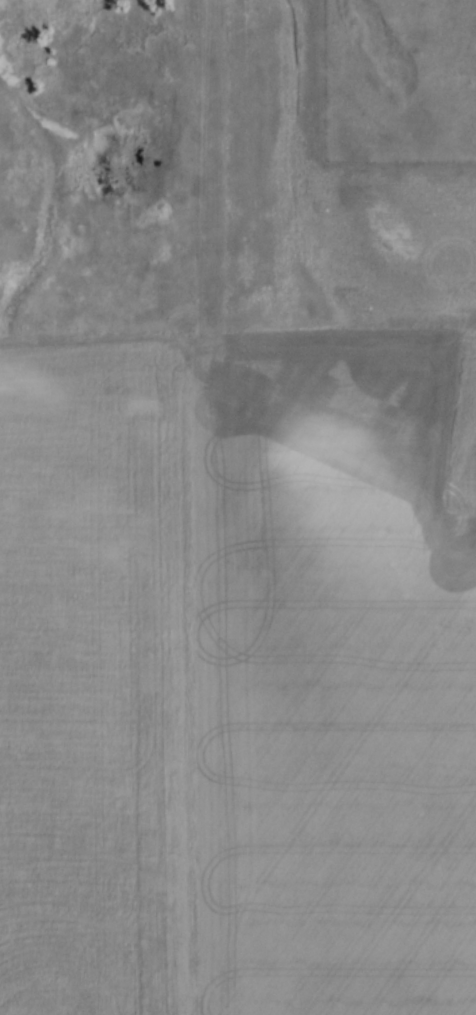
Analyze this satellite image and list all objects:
crop: (309, 191)
crop: (237, 679)

